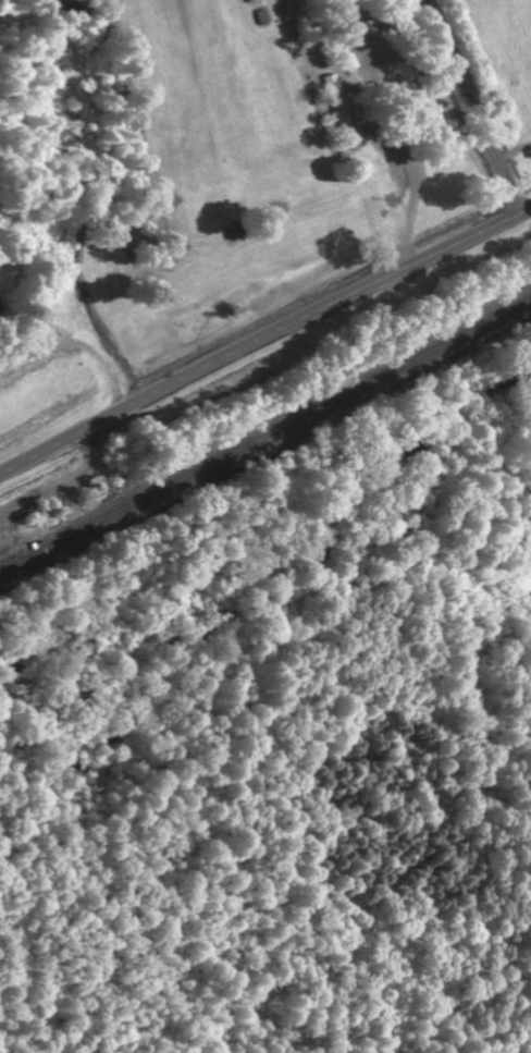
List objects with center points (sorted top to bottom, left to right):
building: (82, 1)
road: (476, 107)
building: (339, 109)
road: (263, 338)
railway: (264, 437)

